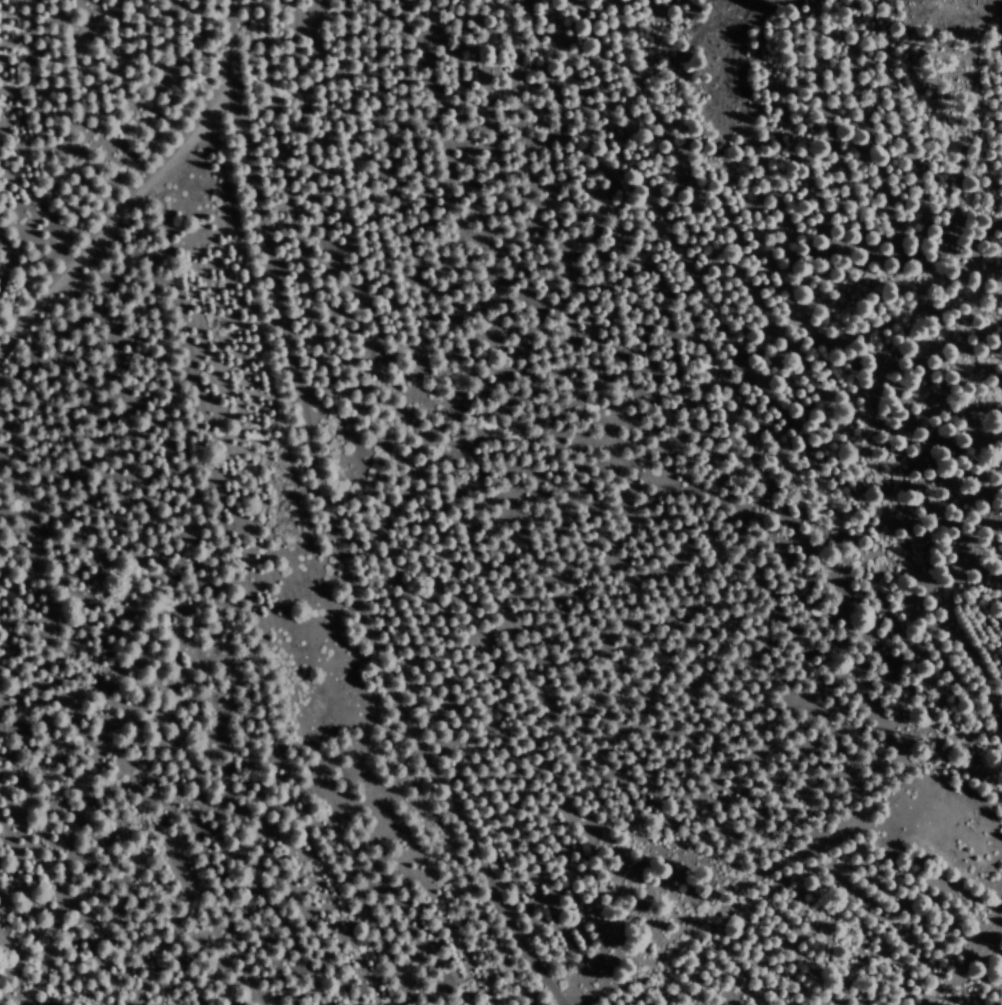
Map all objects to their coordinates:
road: (111, 233)
road: (335, 520)

